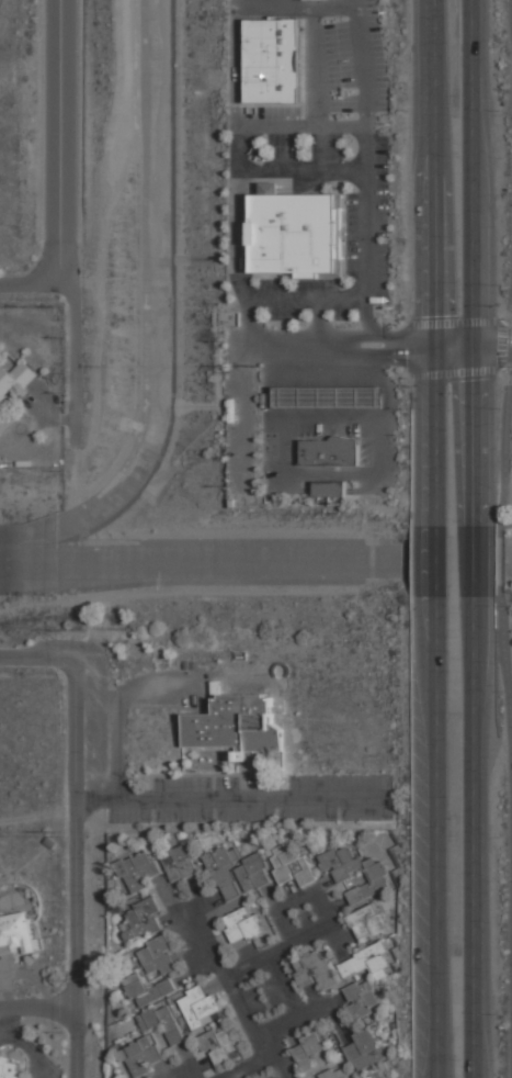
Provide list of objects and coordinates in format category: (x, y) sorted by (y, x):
road: (333, 7)
building: (273, 60)
road: (288, 126)
road: (60, 143)
building: (297, 234)
road: (476, 261)
road: (435, 265)
road: (30, 285)
road: (307, 296)
road: (320, 321)
road: (383, 344)
traffic signals: (435, 344)
traffic signals: (477, 344)
road: (494, 344)
road: (62, 358)
building: (14, 379)
building: (329, 397)
road: (508, 400)
building: (329, 451)
building: (329, 490)
road: (508, 503)
road: (502, 551)
road: (480, 560)
road: (437, 563)
road: (38, 655)
road: (509, 663)
building: (237, 725)
road: (232, 797)
road: (482, 836)
road: (437, 838)
building: (377, 852)
building: (179, 862)
building: (293, 864)
road: (77, 866)
building: (137, 869)
building: (356, 871)
building: (239, 888)
building: (144, 917)
building: (367, 920)
building: (16, 934)
building: (158, 954)
building: (367, 962)
building: (314, 968)
building: (148, 989)
building: (360, 998)
road: (38, 1002)
building: (200, 1006)
road: (272, 1013)
building: (161, 1021)
building: (219, 1044)
building: (366, 1048)
building: (310, 1049)
building: (141, 1055)
building: (9, 1069)
building: (335, 1073)
building: (375, 1076)
building: (149, 1077)

